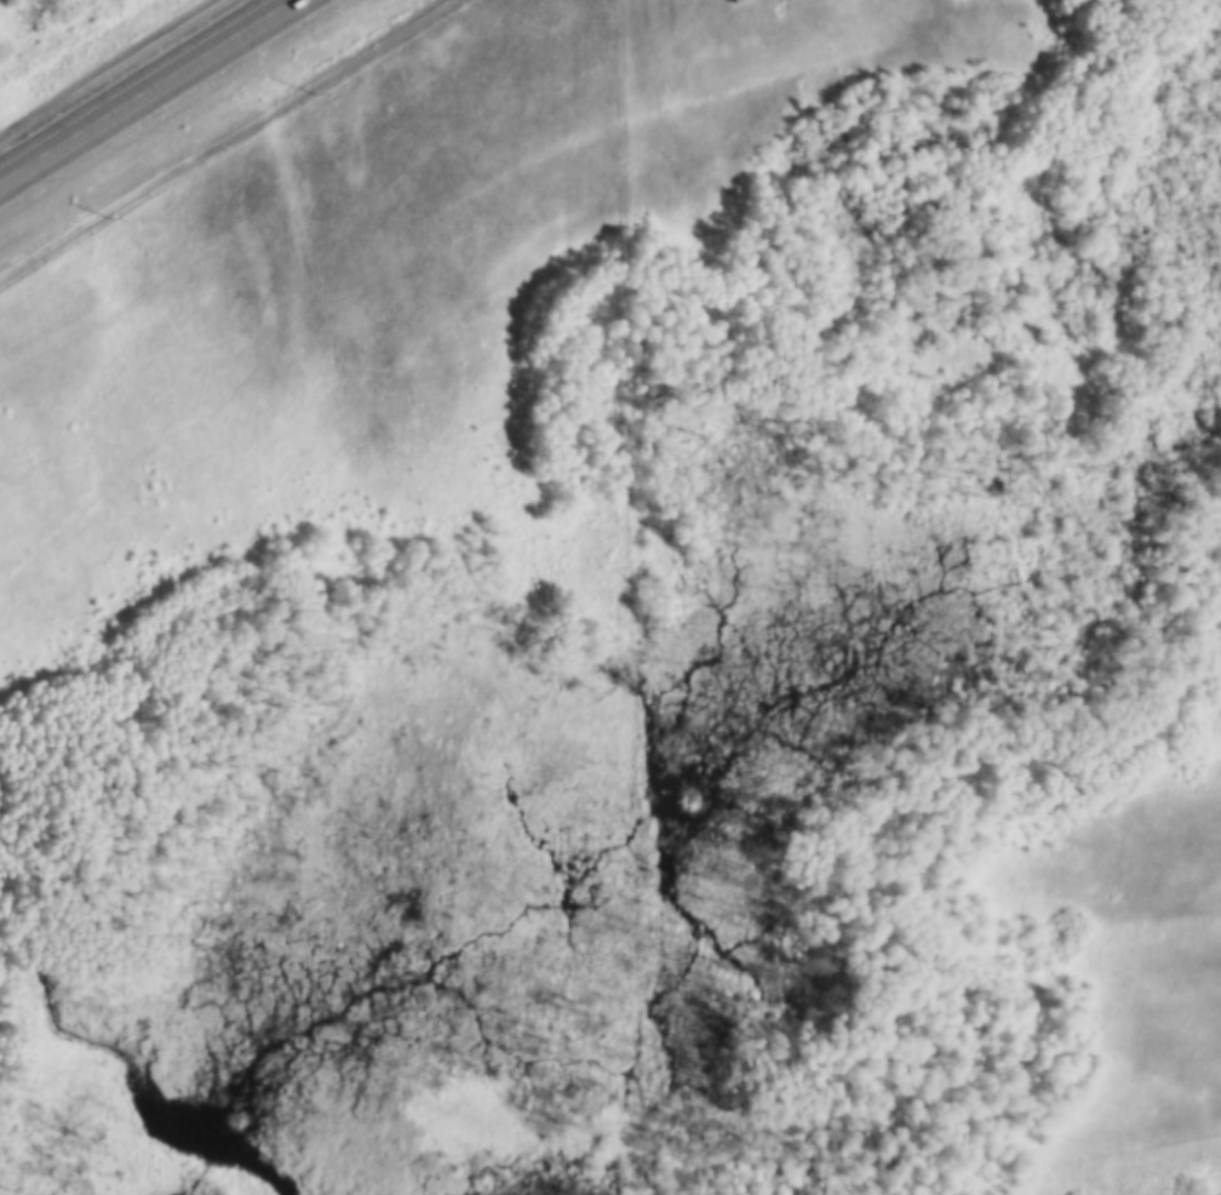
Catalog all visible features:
road: (144, 88)
road: (224, 137)

